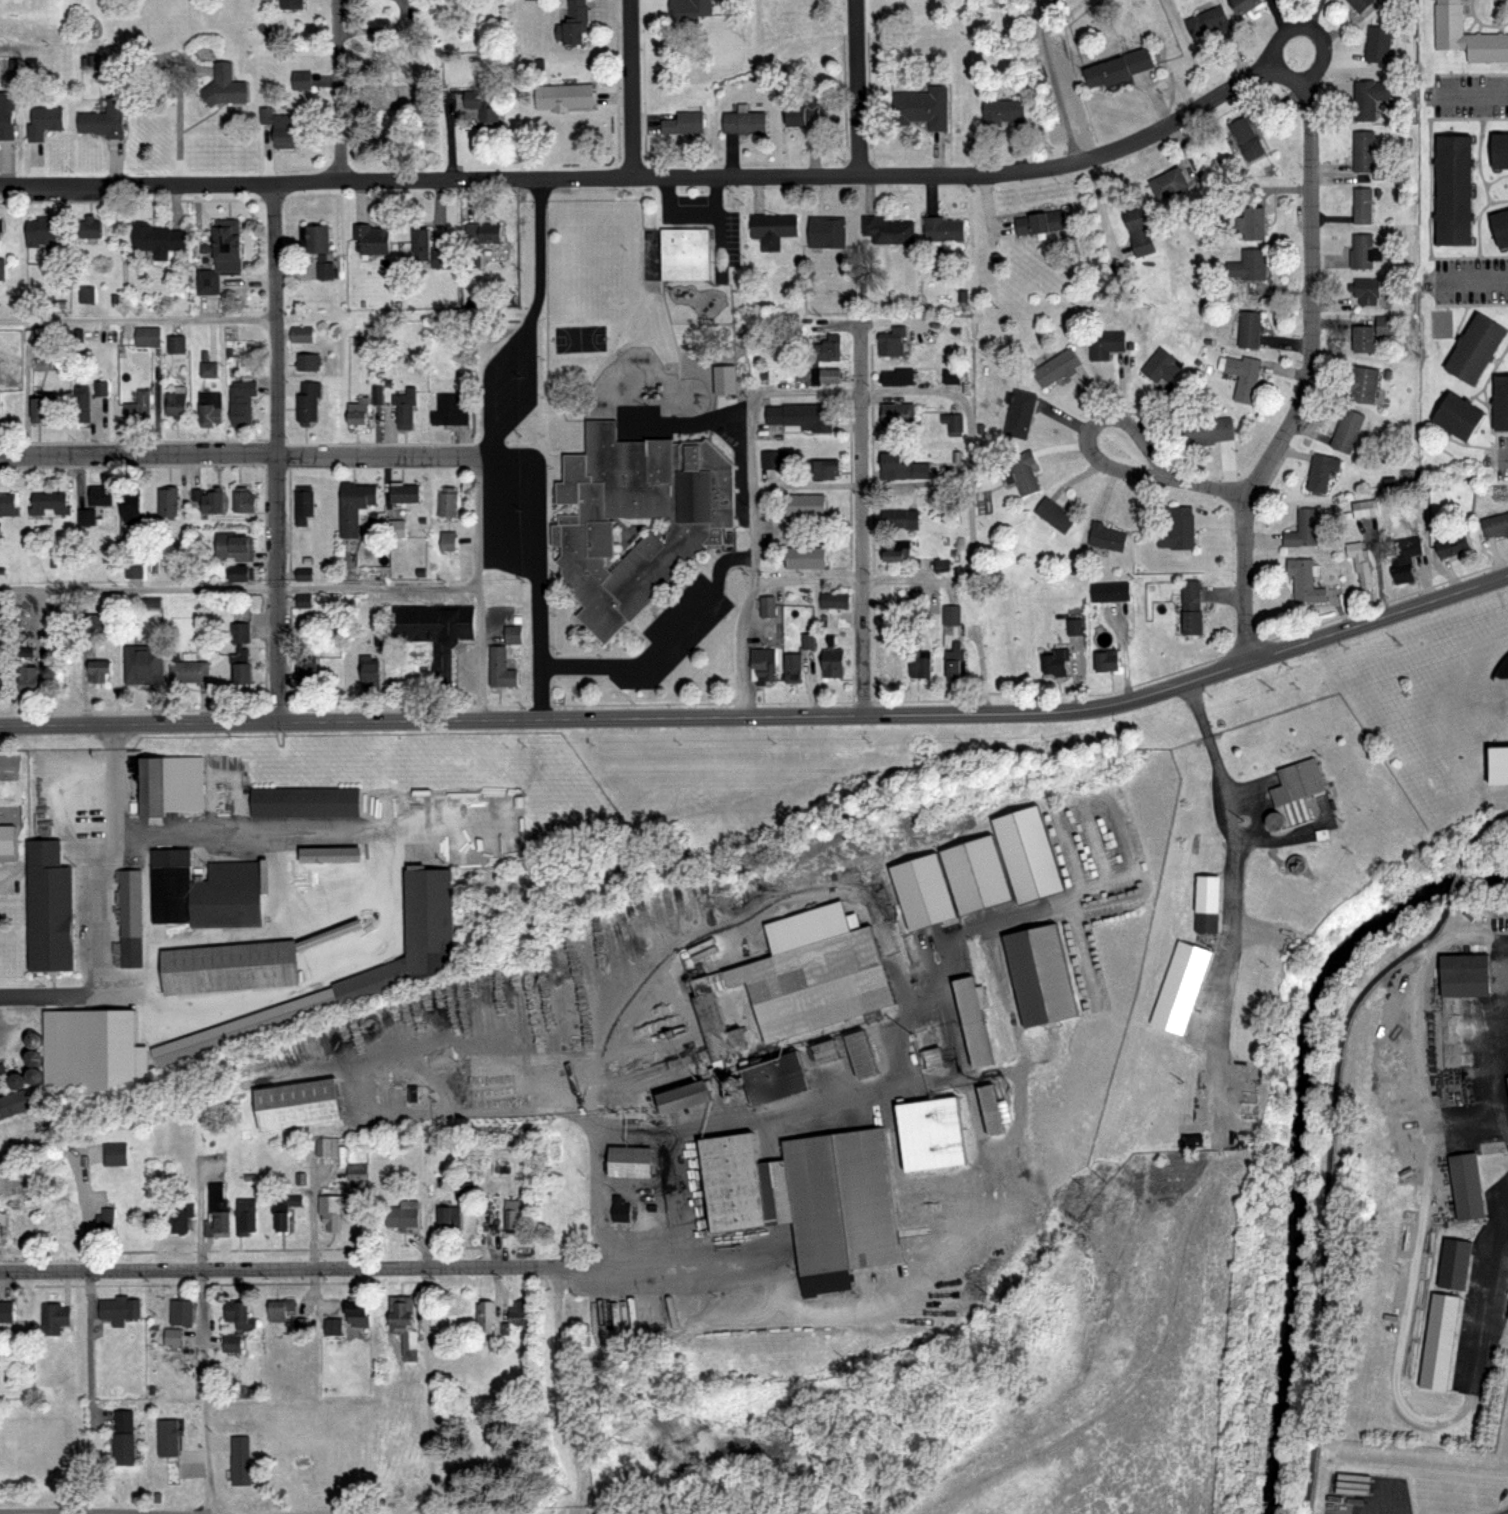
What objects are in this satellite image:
building: (1361, 4)
building: (1244, 5)
building: (290, 6)
building: (690, 11)
road: (1495, 13)
building: (1209, 21)
building: (572, 22)
road: (1481, 23)
building: (1466, 35)
building: (1378, 43)
building: (1117, 68)
road: (1471, 73)
road: (1294, 78)
building: (299, 80)
building: (222, 85)
road: (856, 87)
road: (631, 88)
road: (339, 90)
building: (566, 95)
parking lot: (1471, 96)
road: (1475, 96)
building: (387, 97)
building: (1369, 97)
building: (486, 103)
building: (924, 108)
building: (806, 112)
building: (1002, 112)
building: (6, 117)
building: (100, 118)
building: (743, 121)
building: (42, 122)
building: (684, 122)
building: (283, 130)
building: (1246, 138)
building: (1363, 150)
building: (1498, 152)
road: (1478, 162)
road: (650, 175)
road: (1495, 179)
building: (1167, 183)
road: (1430, 186)
building: (1451, 191)
building: (1362, 205)
road: (1478, 217)
building: (1040, 222)
building: (1252, 223)
building: (1, 224)
building: (89, 228)
building: (942, 228)
building: (772, 229)
building: (1499, 229)
building: (889, 230)
building: (41, 231)
building: (1138, 231)
building: (826, 232)
building: (371, 237)
building: (313, 238)
building: (158, 239)
building: (480, 239)
building: (223, 245)
building: (1364, 250)
building: (431, 251)
building: (683, 256)
building: (1249, 265)
building: (2, 269)
building: (323, 270)
parking lot: (1471, 280)
road: (1475, 281)
building: (1365, 291)
building: (207, 303)
road: (1472, 304)
road: (139, 320)
road: (873, 322)
building: (1383, 325)
building: (1249, 329)
building: (301, 334)
building: (147, 336)
building: (1363, 338)
building: (892, 341)
building: (1105, 343)
building: (174, 344)
building: (830, 348)
building: (1472, 351)
building: (307, 361)
building: (1057, 367)
building: (1161, 367)
building: (829, 375)
building: (949, 376)
building: (898, 377)
building: (1243, 377)
road: (1309, 377)
building: (725, 378)
building: (1363, 383)
building: (99, 387)
road: (892, 391)
road: (1484, 394)
building: (241, 402)
building: (307, 402)
building: (80, 403)
building: (174, 404)
building: (1500, 405)
building: (40, 406)
building: (210, 406)
building: (137, 409)
building: (403, 409)
building: (449, 411)
building: (1019, 413)
building: (358, 414)
building: (898, 415)
building: (802, 417)
building: (1455, 417)
road: (1101, 419)
building: (953, 422)
building: (1347, 430)
building: (1208, 431)
road: (276, 452)
road: (251, 456)
parking lot: (1503, 457)
road: (502, 460)
building: (774, 460)
building: (822, 467)
building: (902, 467)
building: (1023, 472)
building: (1321, 472)
road: (860, 485)
road: (1207, 487)
building: (405, 492)
building: (99, 495)
building: (211, 500)
building: (242, 501)
building: (166, 503)
building: (7, 504)
building: (49, 504)
building: (128, 504)
building: (804, 504)
building: (354, 505)
building: (448, 505)
building: (303, 506)
building: (1365, 508)
building: (1053, 513)
building: (84, 516)
parking lot: (505, 518)
road: (862, 519)
building: (909, 520)
road: (503, 522)
building: (634, 522)
building: (1495, 525)
building: (393, 528)
building: (1176, 530)
building: (1302, 530)
building: (1107, 537)
building: (446, 541)
building: (1453, 544)
building: (235, 546)
building: (1408, 547)
building: (896, 554)
building: (805, 558)
building: (1361, 563)
road: (531, 565)
building: (928, 568)
building: (132, 569)
road: (538, 571)
building: (235, 573)
building: (1403, 573)
building: (1305, 580)
road: (479, 586)
road: (239, 589)
building: (1111, 591)
building: (300, 600)
building: (835, 600)
building: (1191, 607)
building: (951, 616)
building: (91, 623)
parking lot: (682, 626)
building: (1074, 626)
building: (240, 633)
building: (511, 634)
building: (429, 635)
building: (807, 641)
road: (663, 642)
building: (955, 661)
building: (763, 662)
building: (832, 662)
building: (1106, 662)
building: (1502, 663)
building: (1052, 664)
building: (142, 665)
building: (240, 666)
building: (920, 666)
building: (792, 668)
building: (893, 669)
building: (99, 670)
building: (501, 670)
building: (188, 672)
building: (305, 672)
building: (370, 673)
building: (27, 678)
road: (764, 715)
road: (1206, 736)
building: (1498, 758)
building: (1295, 782)
building: (4, 785)
building: (169, 785)
building: (305, 802)
building: (1270, 821)
road: (1482, 830)
building: (325, 853)
building: (1027, 855)
road: (10, 863)
building: (975, 875)
road: (1455, 883)
building: (204, 889)
building: (923, 894)
building: (1208, 905)
building: (49, 907)
building: (323, 910)
building: (129, 917)
building: (410, 943)
building: (225, 956)
building: (812, 974)
building: (1039, 975)
building: (1466, 975)
building: (1181, 987)
road: (53, 995)
building: (966, 1025)
building: (244, 1029)
building: (716, 1030)
building: (28, 1040)
building: (822, 1054)
building: (96, 1056)
building: (930, 1058)
building: (773, 1079)
building: (1507, 1079)
building: (6, 1080)
building: (682, 1100)
building: (19, 1102)
building: (293, 1103)
building: (989, 1109)
road: (716, 1119)
wastewater plant: (1176, 1131)
river: (1302, 1135)
building: (930, 1138)
building: (329, 1148)
building: (115, 1154)
road: (592, 1159)
building: (629, 1164)
building: (355, 1172)
building: (1461, 1186)
road: (1325, 1190)
building: (464, 1192)
building: (808, 1199)
building: (283, 1209)
building: (619, 1210)
building: (331, 1211)
building: (218, 1213)
building: (245, 1215)
road: (312, 1215)
building: (513, 1215)
building: (404, 1216)
building: (4, 1218)
building: (448, 1219)
building: (180, 1220)
building: (557, 1220)
building: (103, 1225)
building: (0, 1227)
building: (1451, 1264)
road: (634, 1266)
road: (295, 1269)
road: (801, 1306)
building: (119, 1309)
building: (279, 1309)
building: (7, 1312)
building: (180, 1312)
building: (356, 1315)
building: (519, 1315)
building: (484, 1318)
building: (54, 1319)
building: (240, 1319)
building: (403, 1326)
building: (331, 1327)
building: (170, 1337)
building: (1440, 1340)
building: (231, 1344)
road: (92, 1349)
road: (562, 1391)
road: (203, 1392)
road: (429, 1393)
building: (162, 1436)
building: (122, 1439)
building: (240, 1458)
road: (107, 1512)
road: (86, 1513)
road: (1506, 1513)

